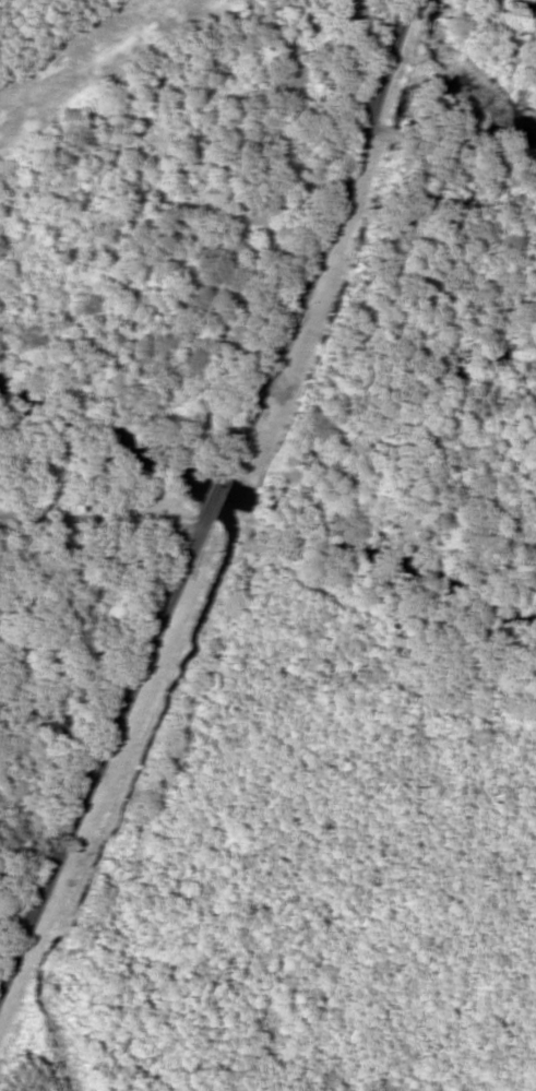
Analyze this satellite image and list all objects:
road: (203, 481)
road: (96, 529)

